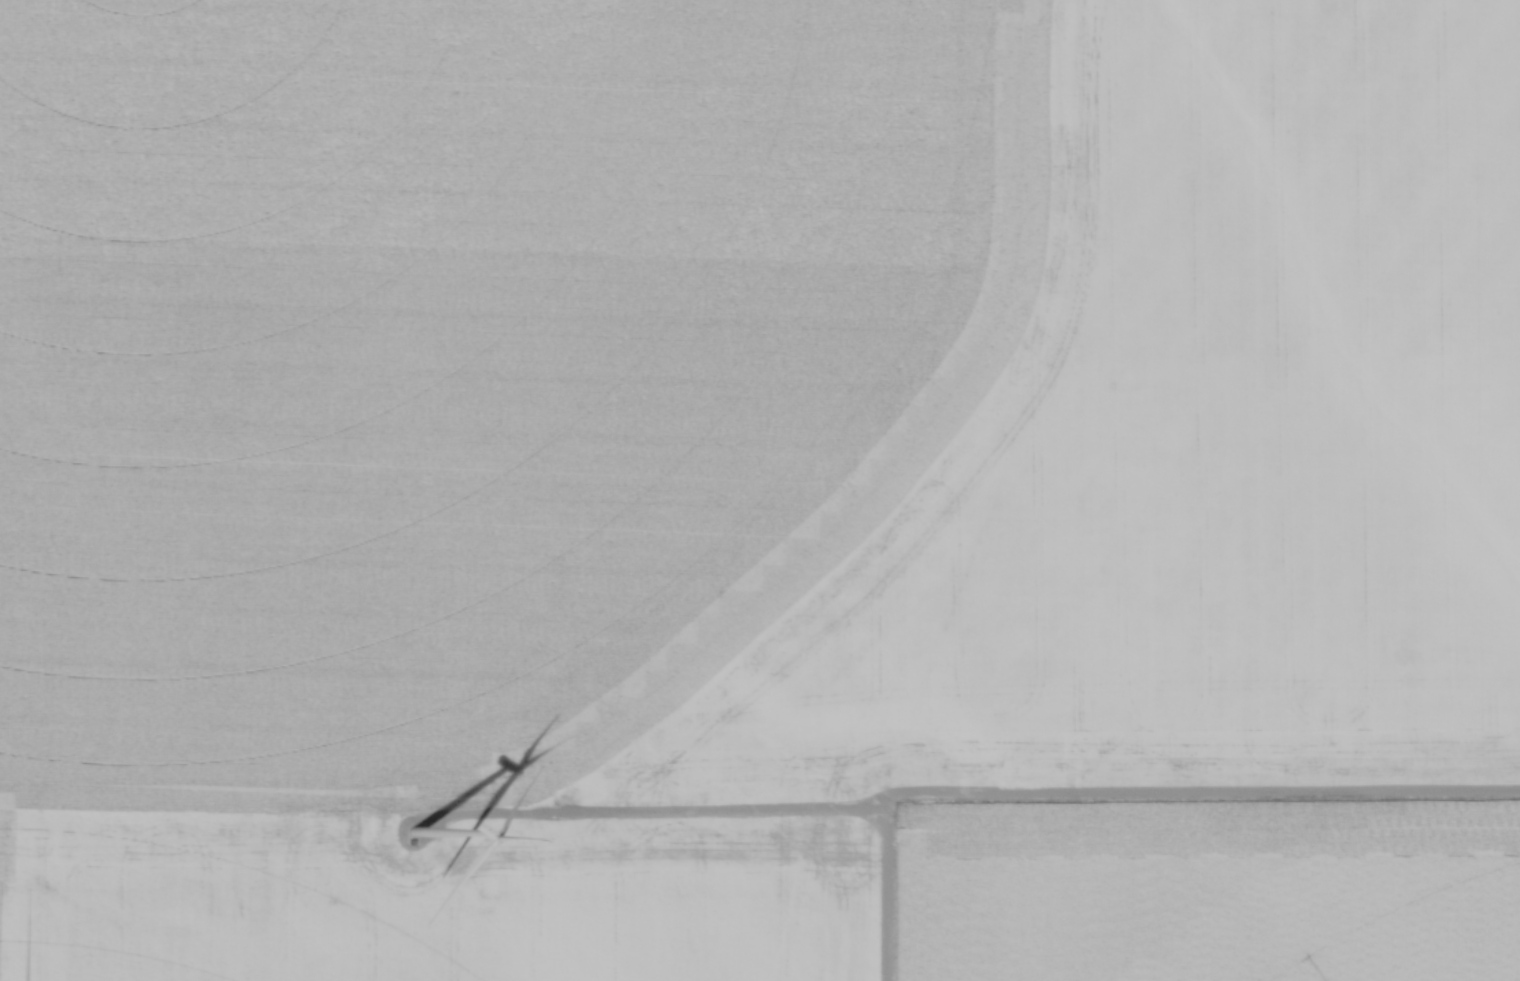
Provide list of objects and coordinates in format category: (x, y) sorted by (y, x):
road: (995, 810)
wind turbine: (411, 831)
road: (883, 896)

